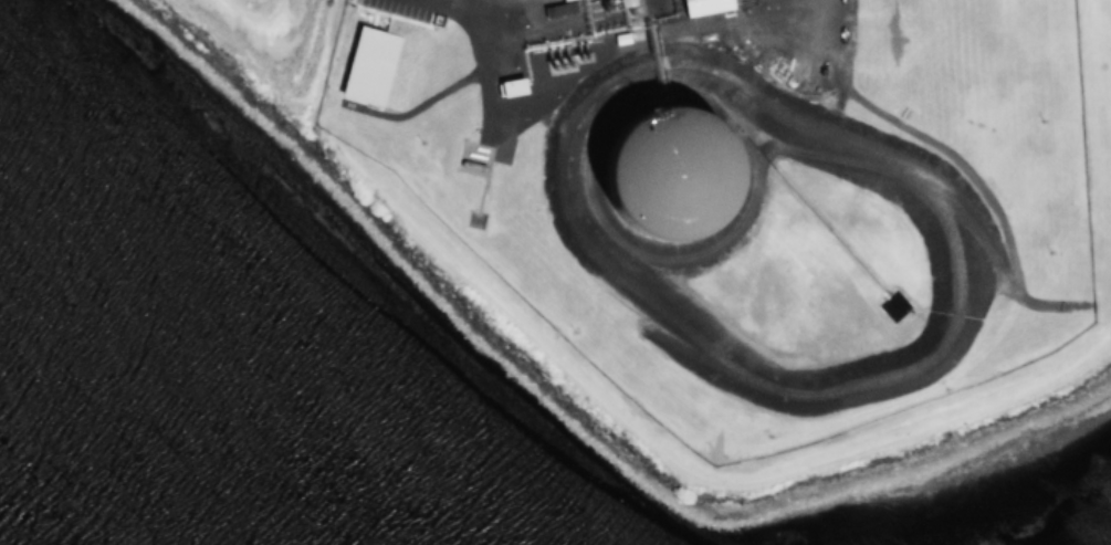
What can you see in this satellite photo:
building: (700, 6)
road: (748, 18)
road: (480, 48)
road: (314, 55)
building: (365, 65)
building: (507, 86)
building: (670, 175)
storage tank: (670, 175)
road: (595, 392)

